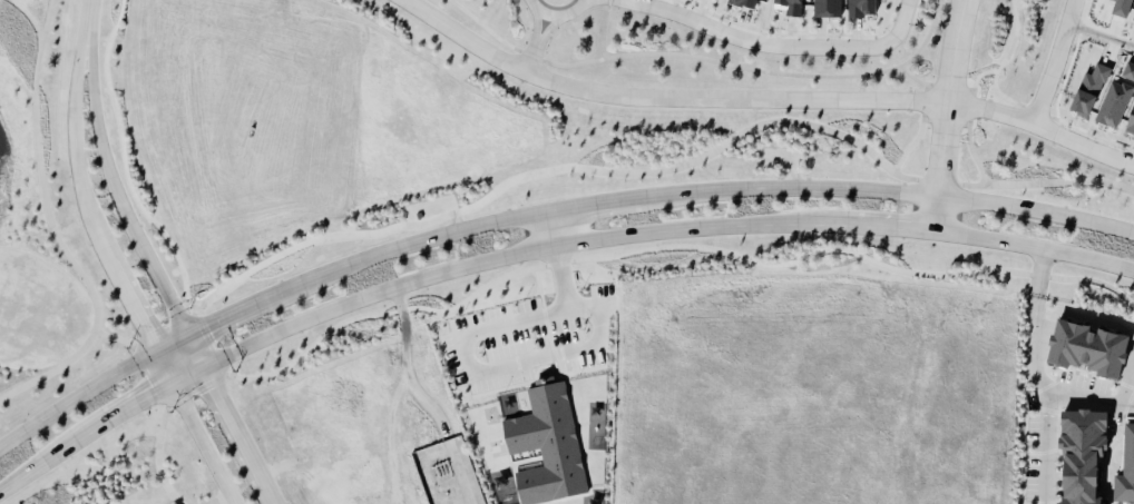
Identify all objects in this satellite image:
building: (745, 3)
building: (793, 7)
building: (863, 8)
building: (1123, 8)
building: (827, 9)
road: (489, 11)
road: (555, 13)
road: (31, 19)
road: (905, 20)
building: (1133, 21)
road: (86, 24)
road: (603, 28)
road: (489, 30)
road: (1097, 38)
road: (536, 40)
road: (754, 42)
road: (1048, 62)
road: (753, 69)
building: (1128, 72)
building: (1089, 91)
road: (971, 98)
road: (762, 99)
building: (1114, 105)
road: (944, 115)
road: (946, 122)
building: (1131, 127)
road: (920, 131)
road: (40, 171)
road: (624, 171)
road: (88, 206)
road: (542, 210)
road: (121, 217)
road: (556, 226)
road: (541, 247)
road: (1035, 316)
building: (1091, 350)
road: (462, 359)
road: (402, 365)
road: (52, 370)
road: (1086, 395)
road: (164, 403)
road: (194, 427)
road: (237, 436)
road: (1039, 444)
building: (547, 446)
building: (1086, 455)
building: (1126, 471)

